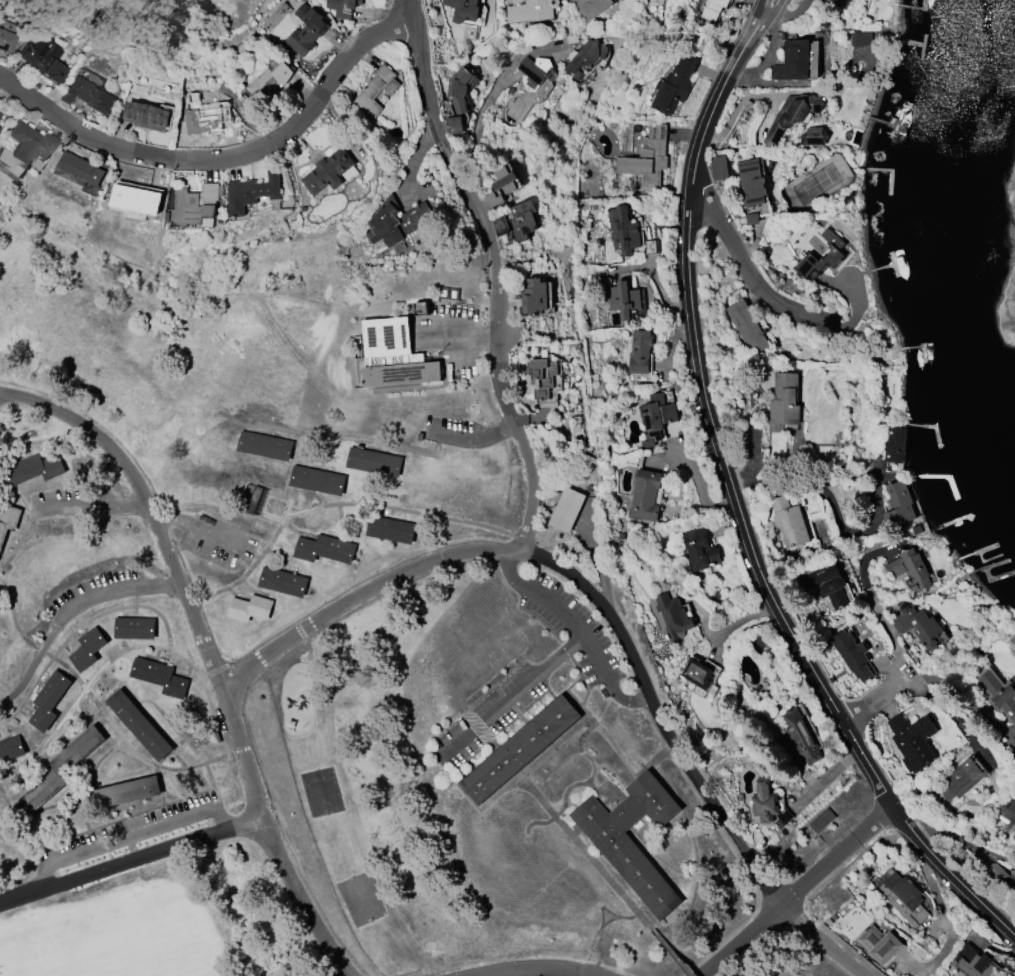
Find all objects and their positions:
building: (834, 0)
building: (343, 7)
building: (590, 7)
building: (713, 8)
building: (464, 9)
building: (530, 9)
building: (307, 29)
road: (744, 37)
building: (860, 37)
road: (757, 38)
building: (7, 41)
building: (586, 56)
building: (42, 57)
building: (797, 60)
building: (535, 71)
building: (90, 77)
building: (268, 77)
building: (675, 83)
building: (376, 89)
building: (460, 89)
building: (87, 95)
road: (738, 106)
building: (0, 114)
building: (145, 114)
building: (792, 114)
building: (207, 117)
building: (454, 124)
building: (0, 127)
road: (477, 132)
building: (813, 136)
building: (26, 147)
building: (647, 157)
road: (223, 159)
building: (720, 165)
building: (81, 171)
building: (327, 171)
building: (505, 179)
building: (751, 181)
building: (252, 192)
building: (138, 197)
building: (491, 199)
building: (196, 205)
building: (523, 218)
building: (395, 224)
building: (500, 224)
building: (623, 229)
building: (834, 252)
road: (743, 270)
road: (496, 273)
building: (535, 296)
building: (623, 298)
building: (750, 327)
road: (467, 331)
building: (640, 351)
building: (394, 354)
building: (543, 380)
building: (785, 398)
building: (657, 417)
road: (477, 438)
road: (364, 439)
building: (895, 444)
building: (265, 445)
building: (374, 461)
building: (32, 468)
building: (318, 479)
building: (645, 494)
building: (899, 503)
road: (95, 504)
building: (567, 508)
building: (8, 518)
building: (788, 520)
road: (201, 528)
building: (391, 528)
road: (748, 540)
building: (324, 547)
building: (700, 548)
building: (910, 568)
road: (863, 571)
building: (283, 581)
building: (826, 583)
building: (250, 607)
road: (72, 612)
building: (673, 616)
road: (612, 619)
building: (918, 624)
building: (135, 627)
road: (577, 631)
building: (87, 648)
road: (216, 653)
building: (853, 654)
building: (697, 672)
building: (160, 676)
building: (998, 692)
road: (510, 694)
building: (49, 700)
building: (139, 724)
building: (800, 735)
building: (913, 740)
building: (11, 747)
building: (520, 749)
building: (63, 767)
building: (962, 777)
building: (127, 791)
building: (767, 803)
building: (1007, 814)
building: (822, 819)
road: (134, 834)
road: (131, 863)
building: (633, 865)
building: (997, 873)
road: (793, 893)
building: (903, 897)
building: (880, 943)
building: (974, 962)
road: (536, 974)
road: (572, 975)

